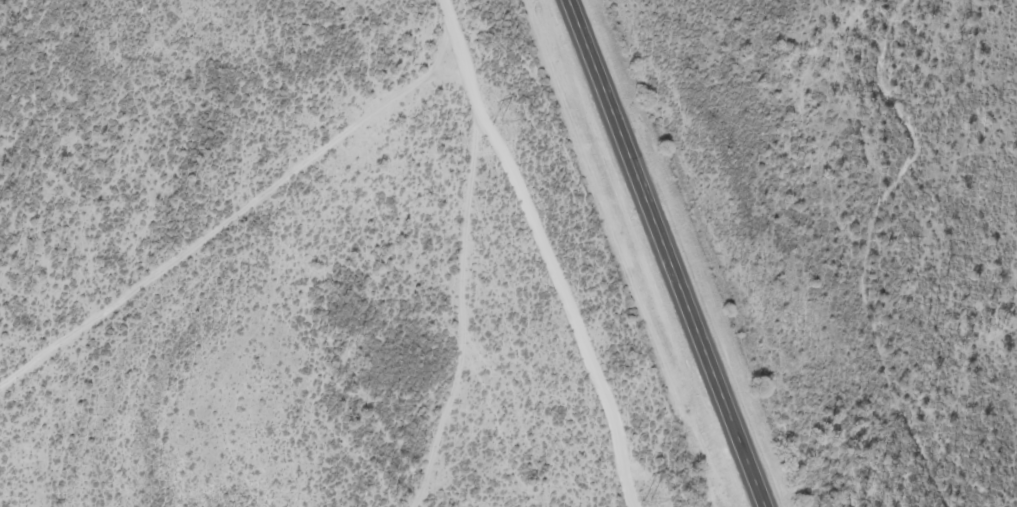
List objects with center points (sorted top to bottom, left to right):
road: (1011, 3)
power tower: (497, 123)
road: (668, 253)
road: (474, 315)
power tower: (645, 502)

